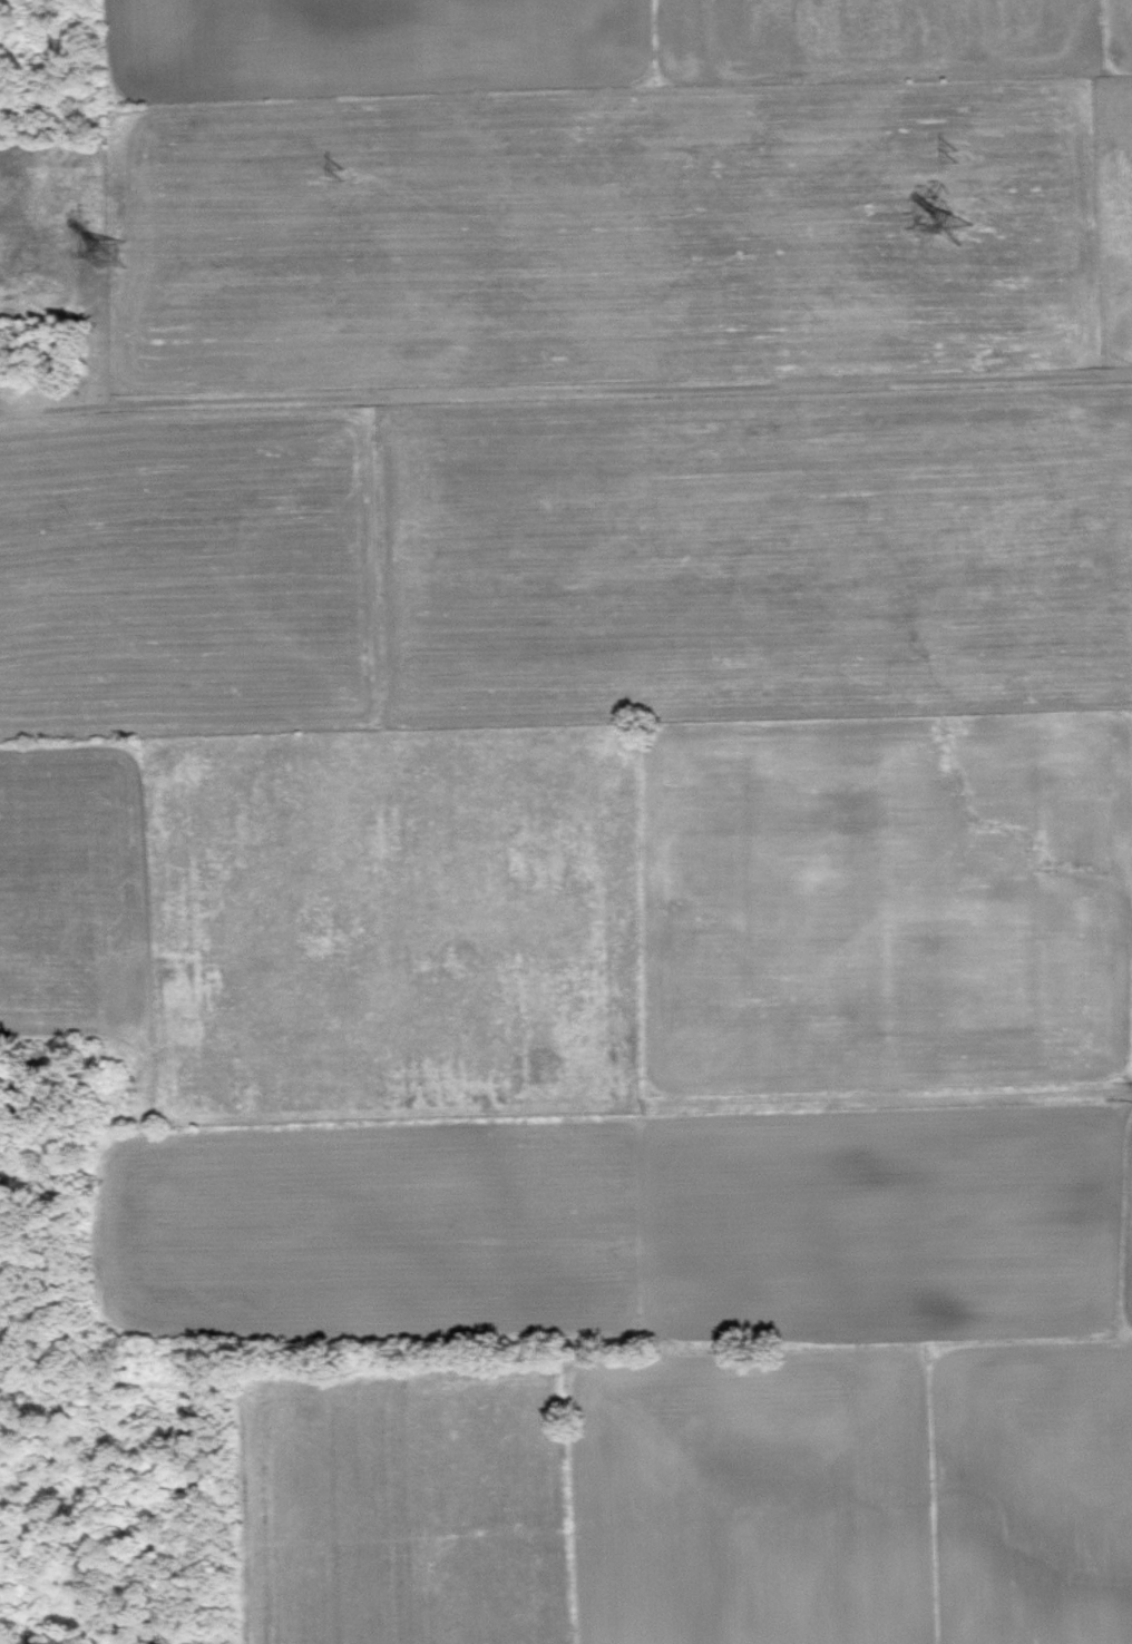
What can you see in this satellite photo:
power tower: (958, 153)
power tower: (348, 172)
power tower: (962, 224)
power tower: (116, 248)

